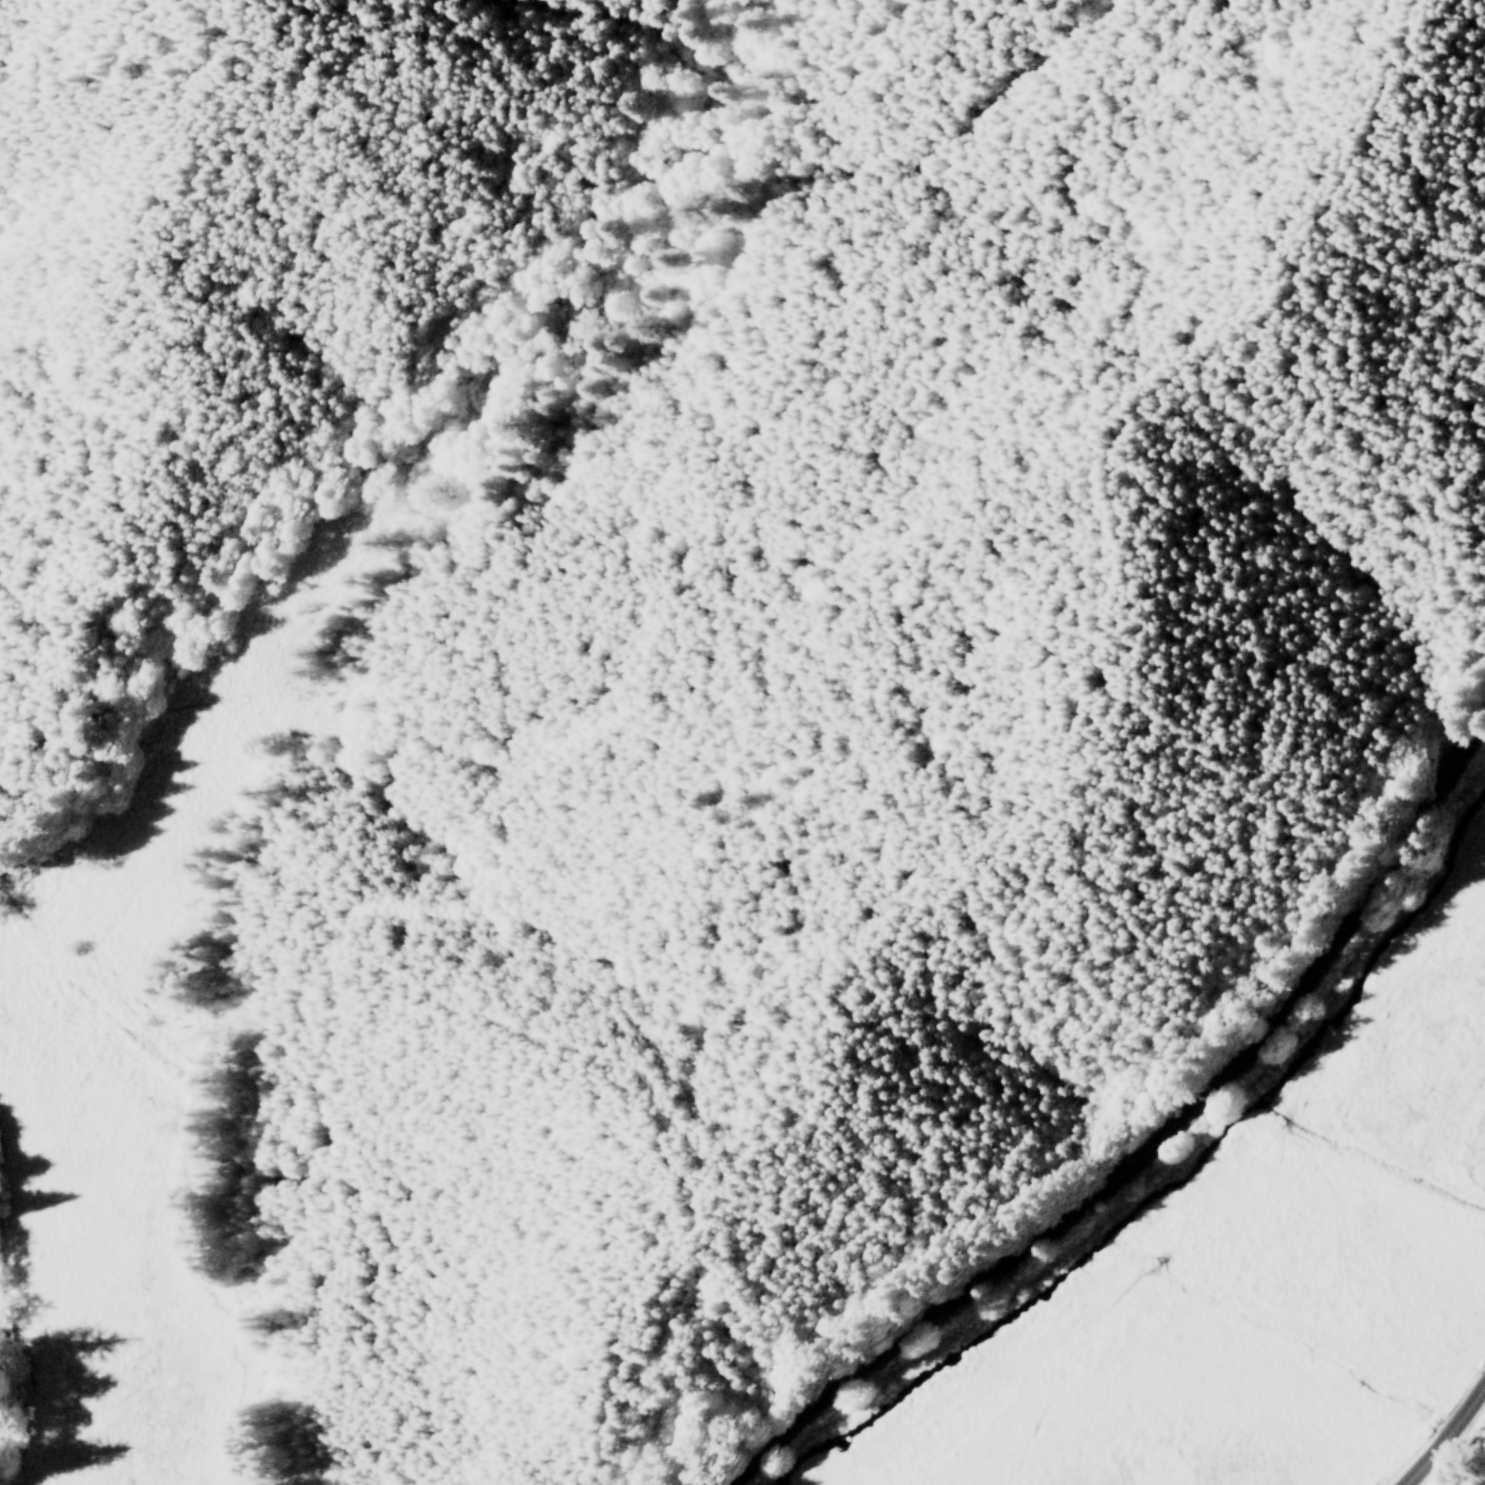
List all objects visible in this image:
railway: (1136, 1150)
road: (203, 1155)
road: (1444, 1433)

